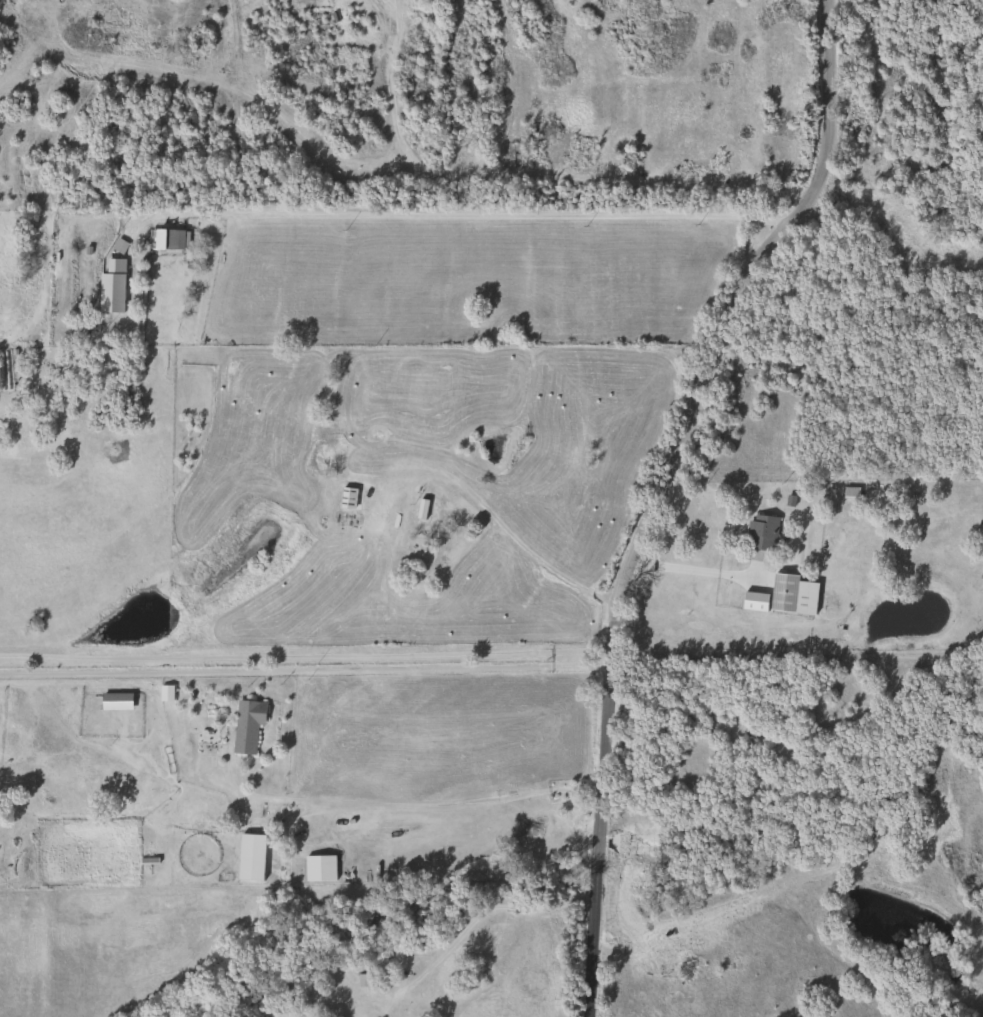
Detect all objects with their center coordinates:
road: (454, 214)
building: (166, 240)
building: (109, 294)
road: (656, 492)
building: (343, 498)
building: (425, 508)
building: (758, 532)
road: (694, 569)
building: (780, 592)
road: (303, 650)
road: (301, 666)
building: (112, 701)
building: (244, 725)
building: (203, 743)
road: (408, 805)

